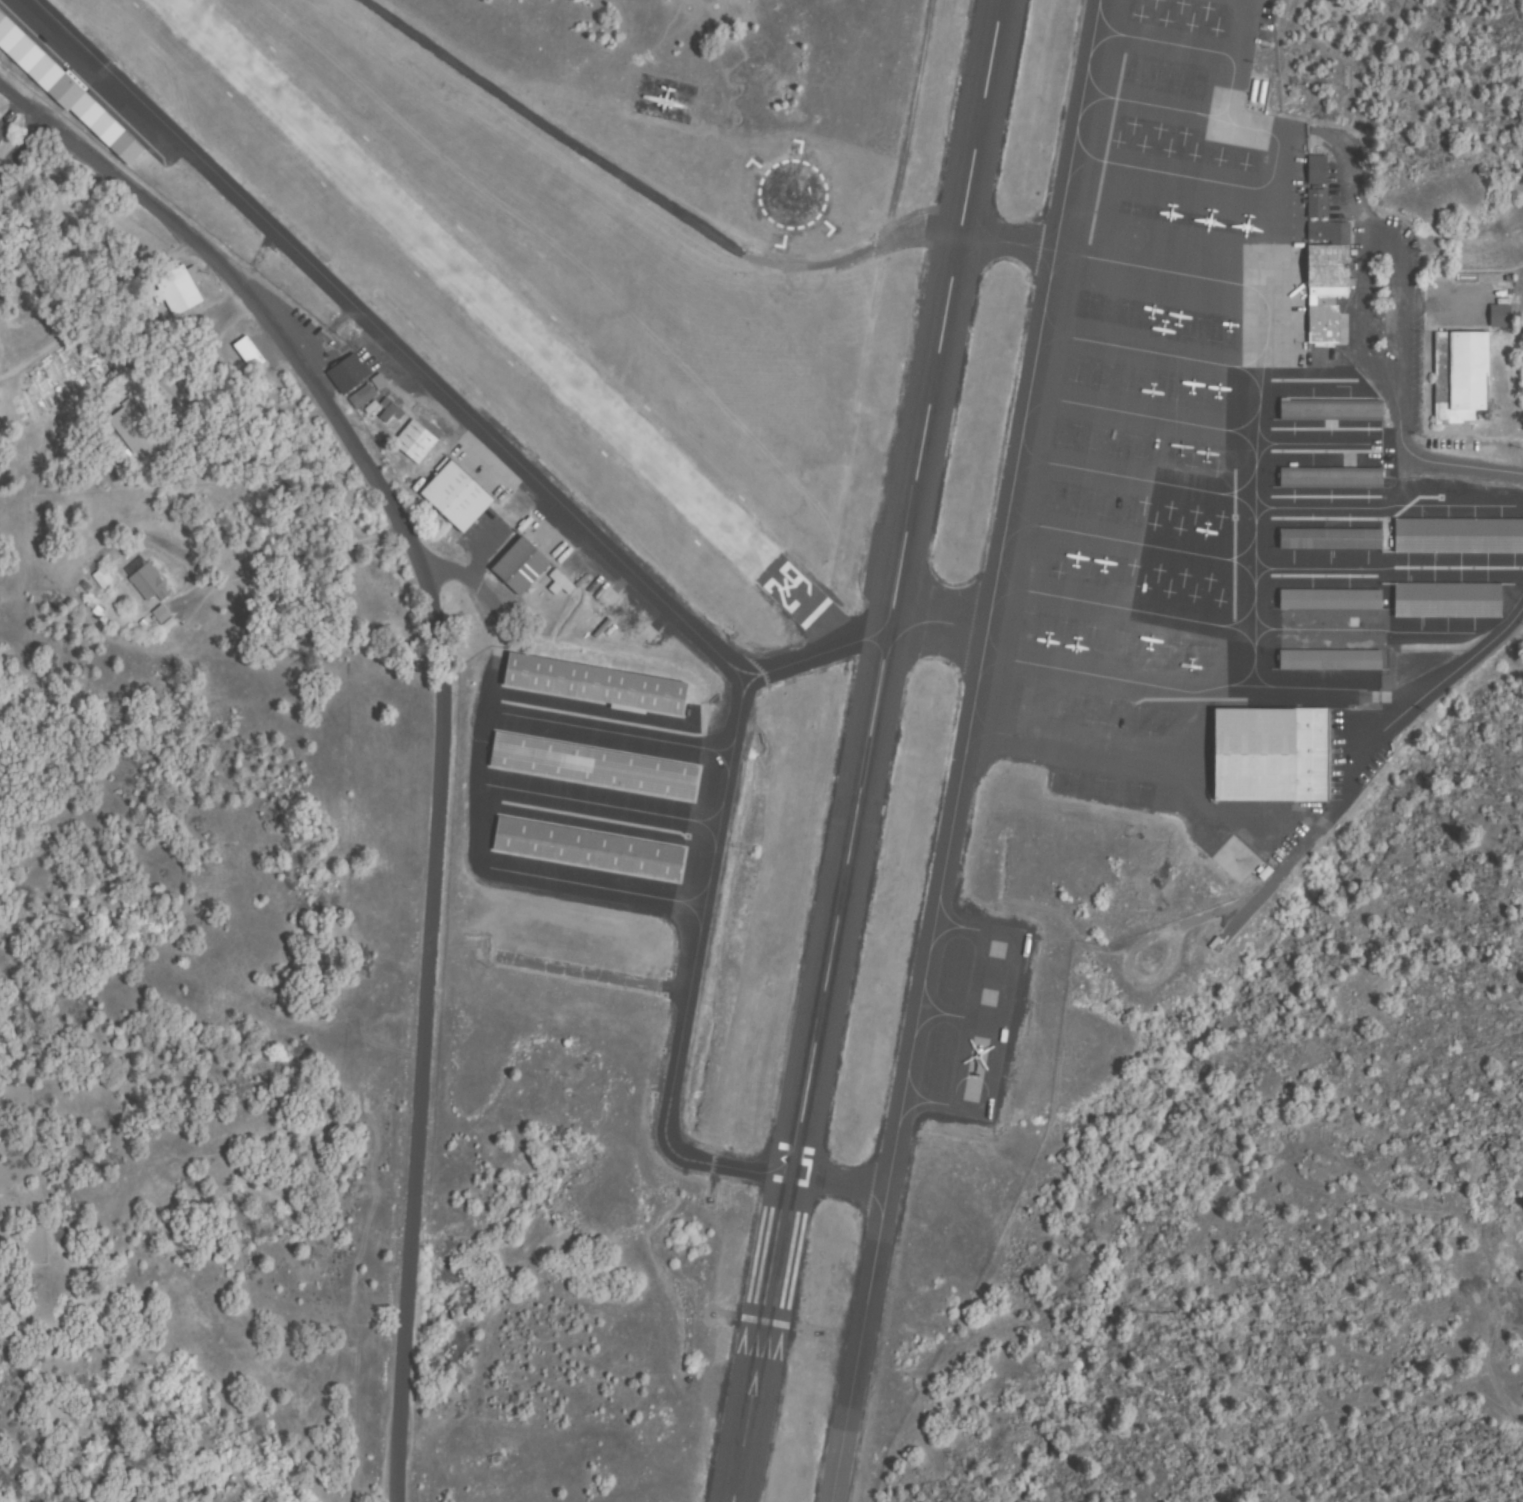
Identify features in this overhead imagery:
building: (66, 89)
storage tank: (1254, 90)
storage tank: (1263, 91)
building: (4, 131)
road: (35, 168)
building: (1316, 170)
helipad: (793, 195)
building: (1316, 204)
airport taxiway: (1098, 259)
building: (1330, 279)
building: (178, 290)
airport runway: (493, 304)
building: (1500, 317)
building: (248, 353)
building: (351, 372)
building: (1460, 378)
building: (381, 382)
building: (364, 396)
building: (392, 409)
building: (1332, 411)
airport taxiway: (477, 421)
building: (133, 431)
building: (417, 441)
road: (1469, 472)
building: (1332, 478)
building: (459, 497)
building: (1460, 535)
building: (1332, 539)
building: (523, 566)
building: (99, 578)
building: (561, 583)
building: (149, 584)
building: (1331, 599)
building: (1449, 600)
airport: (856, 609)
building: (158, 613)
building: (164, 625)
airport taxiway: (833, 625)
building: (1332, 660)
building: (599, 684)
road: (443, 710)
airport runway: (864, 751)
building: (1273, 754)
building: (596, 766)
building: (590, 849)
airport taxiway: (929, 949)
airport taxiway: (858, 1348)

